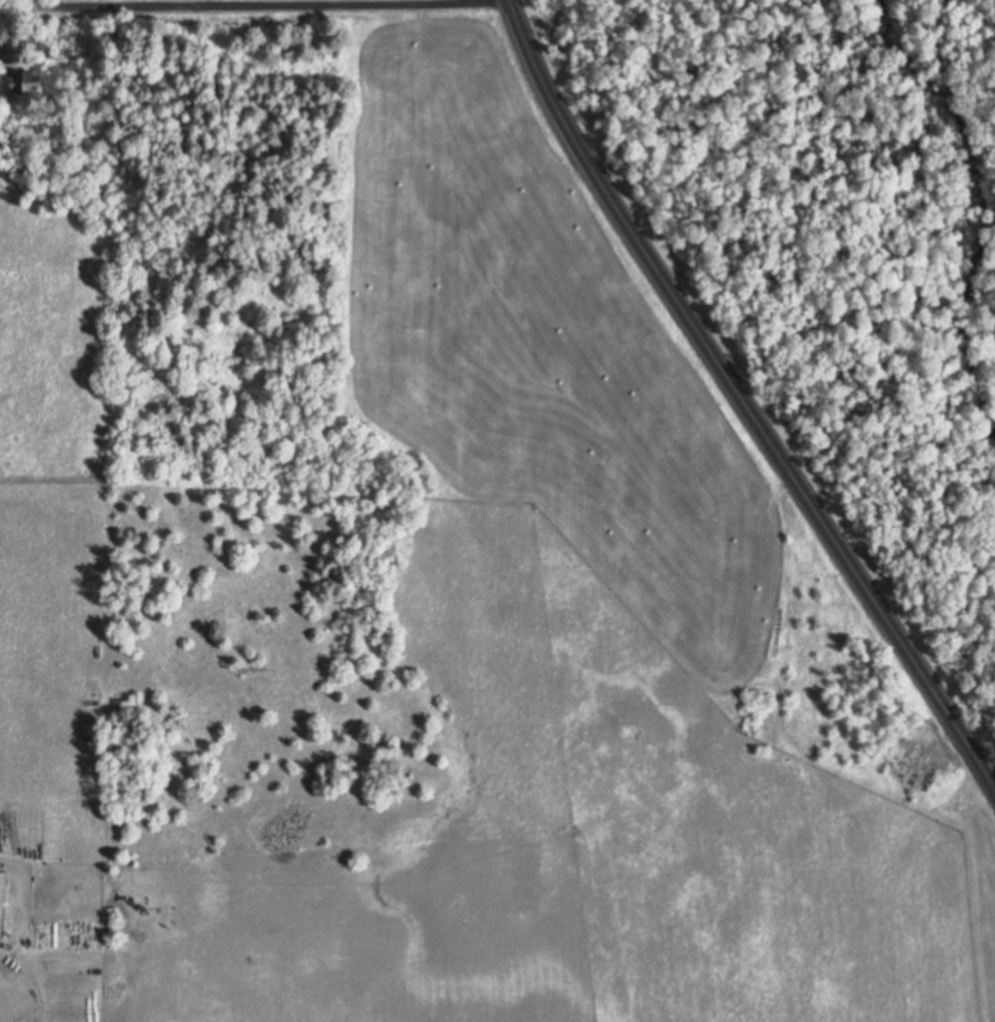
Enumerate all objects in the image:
road: (205, 4)
building: (25, 81)
road: (739, 400)
building: (3, 897)

